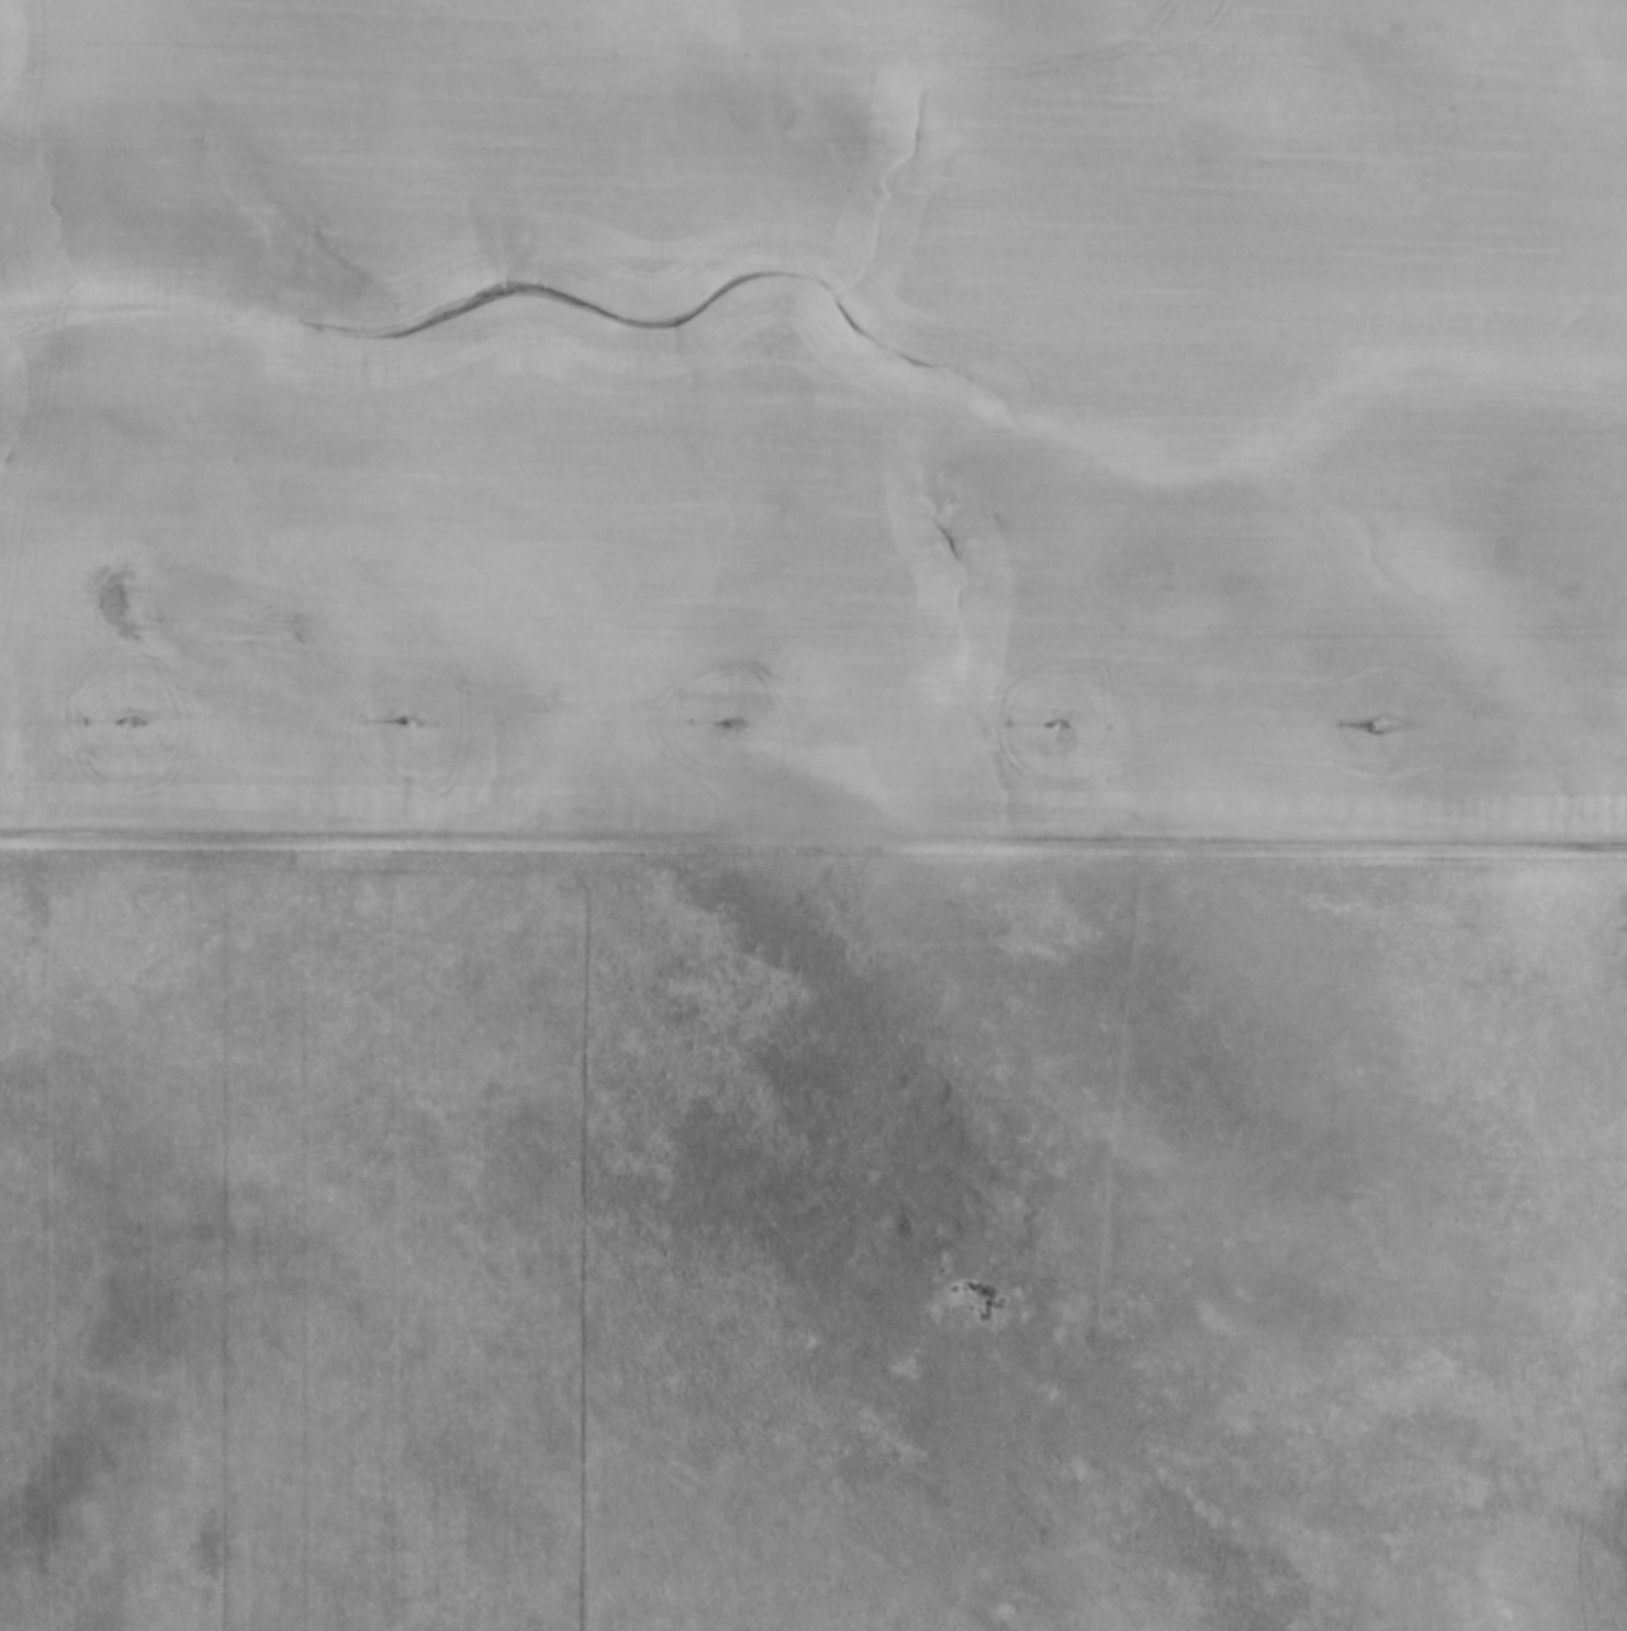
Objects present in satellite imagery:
road: (813, 832)

